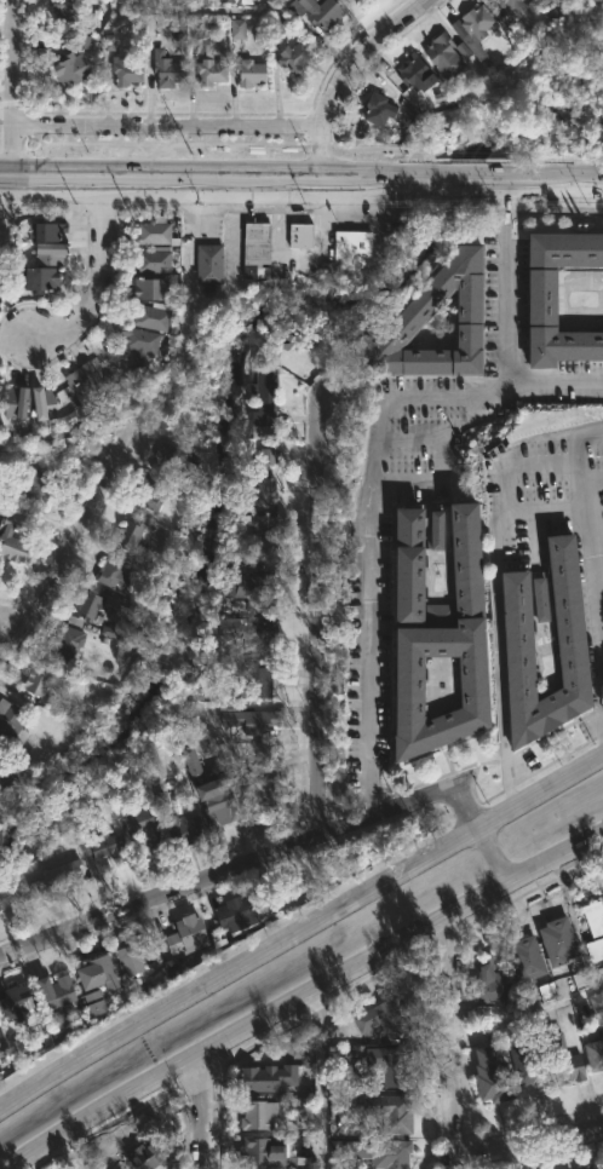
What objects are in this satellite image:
building: (506, 5)
road: (199, 12)
building: (314, 12)
building: (477, 22)
building: (201, 28)
building: (442, 54)
building: (293, 58)
building: (71, 70)
building: (209, 70)
building: (166, 71)
building: (125, 73)
building: (248, 73)
road: (343, 74)
building: (418, 83)
road: (18, 88)
building: (377, 109)
road: (171, 122)
road: (300, 182)
road: (11, 206)
building: (45, 230)
building: (154, 234)
building: (299, 235)
road: (2, 237)
building: (351, 247)
building: (254, 248)
building: (48, 252)
building: (151, 259)
building: (208, 263)
road: (96, 275)
building: (36, 277)
building: (147, 287)
building: (540, 299)
building: (412, 310)
building: (151, 316)
road: (502, 333)
building: (139, 346)
building: (0, 379)
building: (82, 381)
building: (263, 387)
building: (15, 402)
building: (42, 402)
building: (174, 462)
building: (262, 476)
building: (27, 485)
building: (145, 485)
road: (42, 519)
building: (433, 528)
building: (127, 532)
building: (260, 536)
building: (12, 540)
road: (368, 543)
road: (80, 546)
building: (404, 563)
road: (590, 565)
building: (110, 577)
building: (248, 588)
building: (539, 599)
building: (92, 604)
road: (496, 614)
road: (314, 621)
road: (7, 626)
building: (569, 629)
building: (251, 635)
building: (68, 641)
building: (443, 647)
building: (36, 679)
building: (251, 681)
building: (257, 722)
building: (11, 724)
building: (193, 764)
building: (0, 770)
building: (257, 778)
building: (218, 806)
building: (182, 828)
building: (144, 830)
building: (98, 850)
road: (494, 854)
road: (246, 865)
building: (54, 877)
building: (235, 915)
building: (593, 929)
road: (299, 933)
building: (183, 937)
building: (557, 940)
building: (133, 957)
building: (526, 958)
building: (96, 973)
building: (489, 985)
building: (563, 986)
building: (52, 990)
road: (306, 996)
building: (13, 1001)
road: (526, 1013)
building: (383, 1020)
road: (449, 1044)
building: (593, 1055)
building: (562, 1059)
building: (389, 1066)
building: (528, 1069)
building: (490, 1076)
building: (268, 1078)
road: (320, 1079)
building: (387, 1111)
building: (257, 1115)
road: (203, 1116)
road: (527, 1135)
building: (258, 1151)
building: (374, 1152)
building: (145, 1157)
building: (593, 1167)

